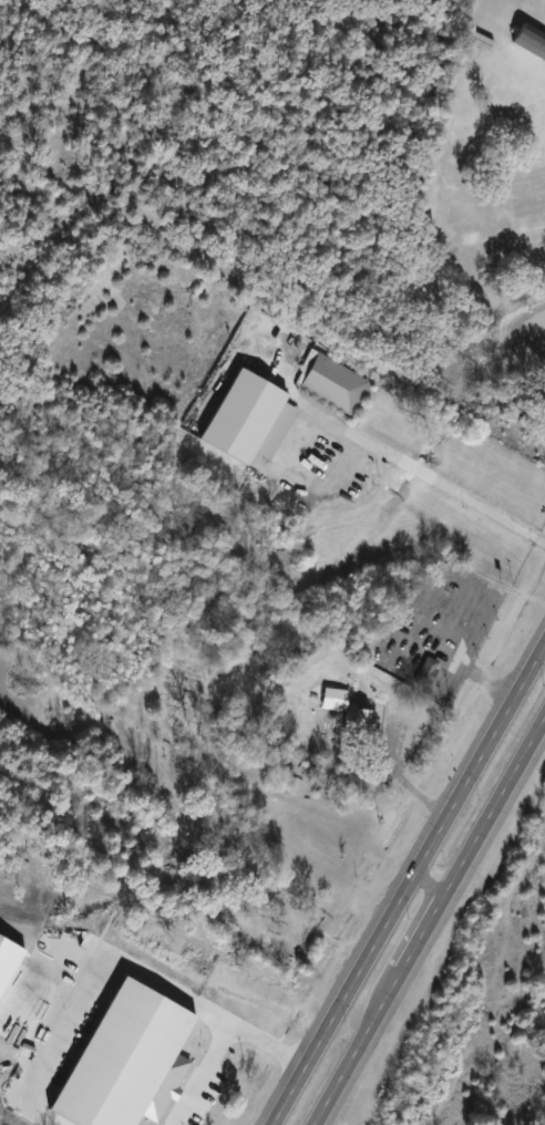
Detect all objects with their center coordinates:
building: (529, 41)
building: (331, 382)
building: (249, 417)
road: (445, 486)
building: (425, 672)
building: (332, 699)
building: (360, 713)
road: (405, 878)
road: (429, 881)
road: (430, 922)
road: (84, 985)
building: (213, 1019)
road: (267, 1043)
road: (202, 1075)

